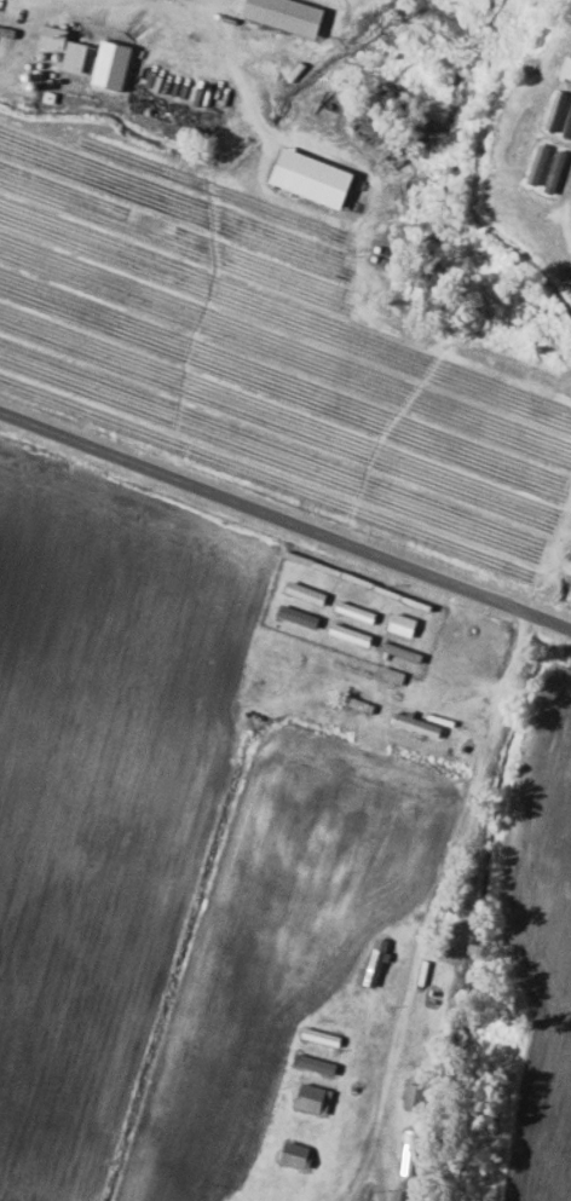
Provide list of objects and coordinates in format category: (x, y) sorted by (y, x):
building: (289, 15)
building: (57, 37)
building: (77, 57)
building: (115, 65)
building: (316, 178)
road: (285, 515)
building: (405, 625)
building: (394, 676)
building: (317, 1063)
building: (419, 1093)
building: (317, 1097)
building: (299, 1153)

